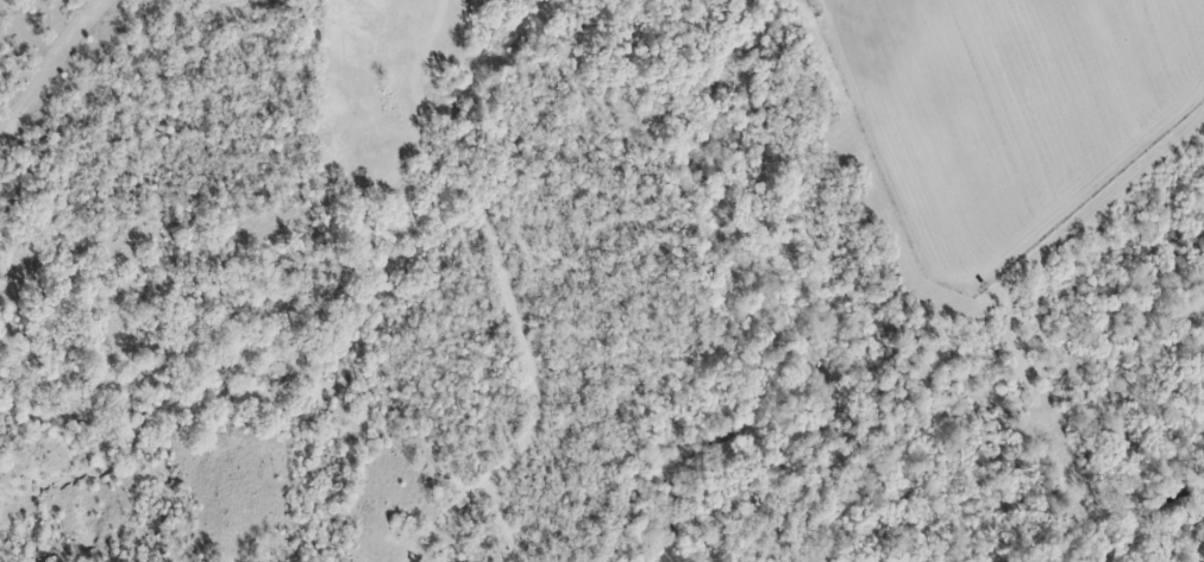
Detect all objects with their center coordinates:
river: (1150, 523)

